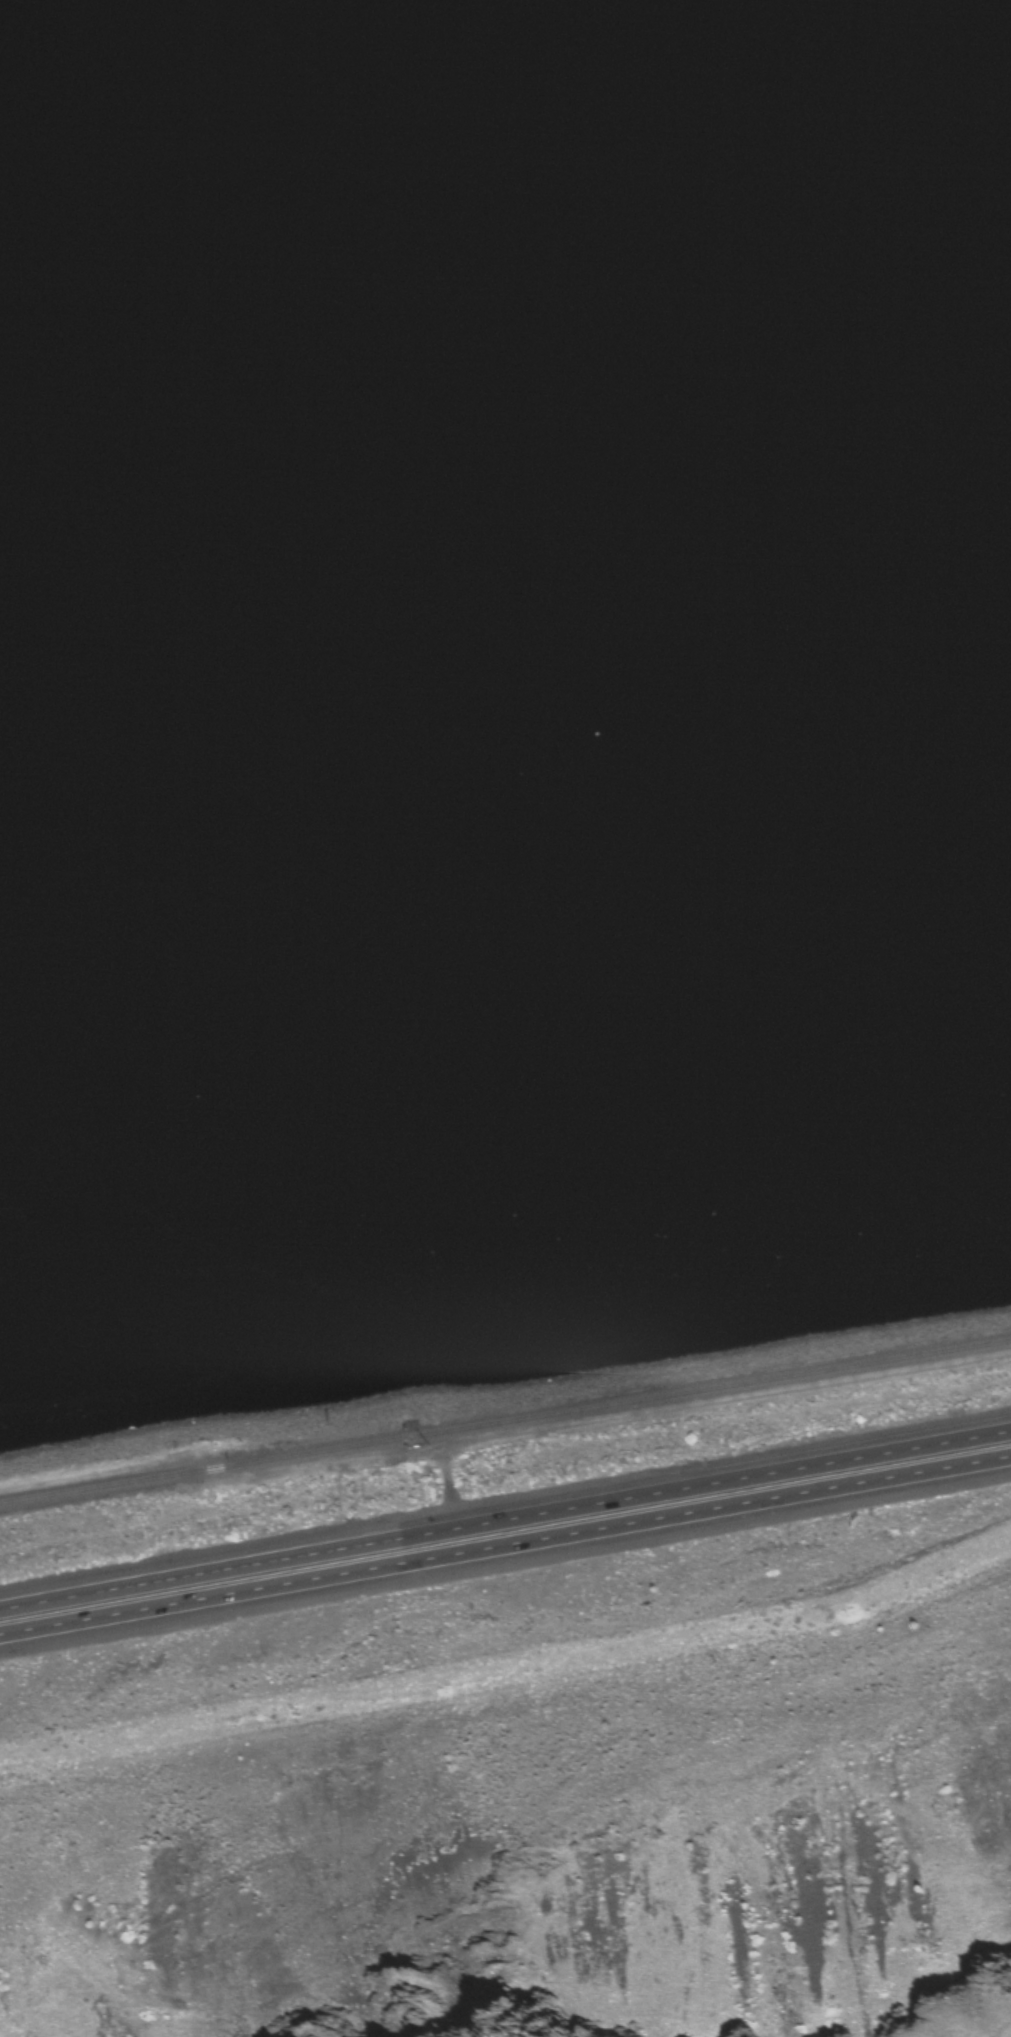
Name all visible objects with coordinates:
railway: (505, 1424)
road: (505, 1524)
road: (505, 1555)

